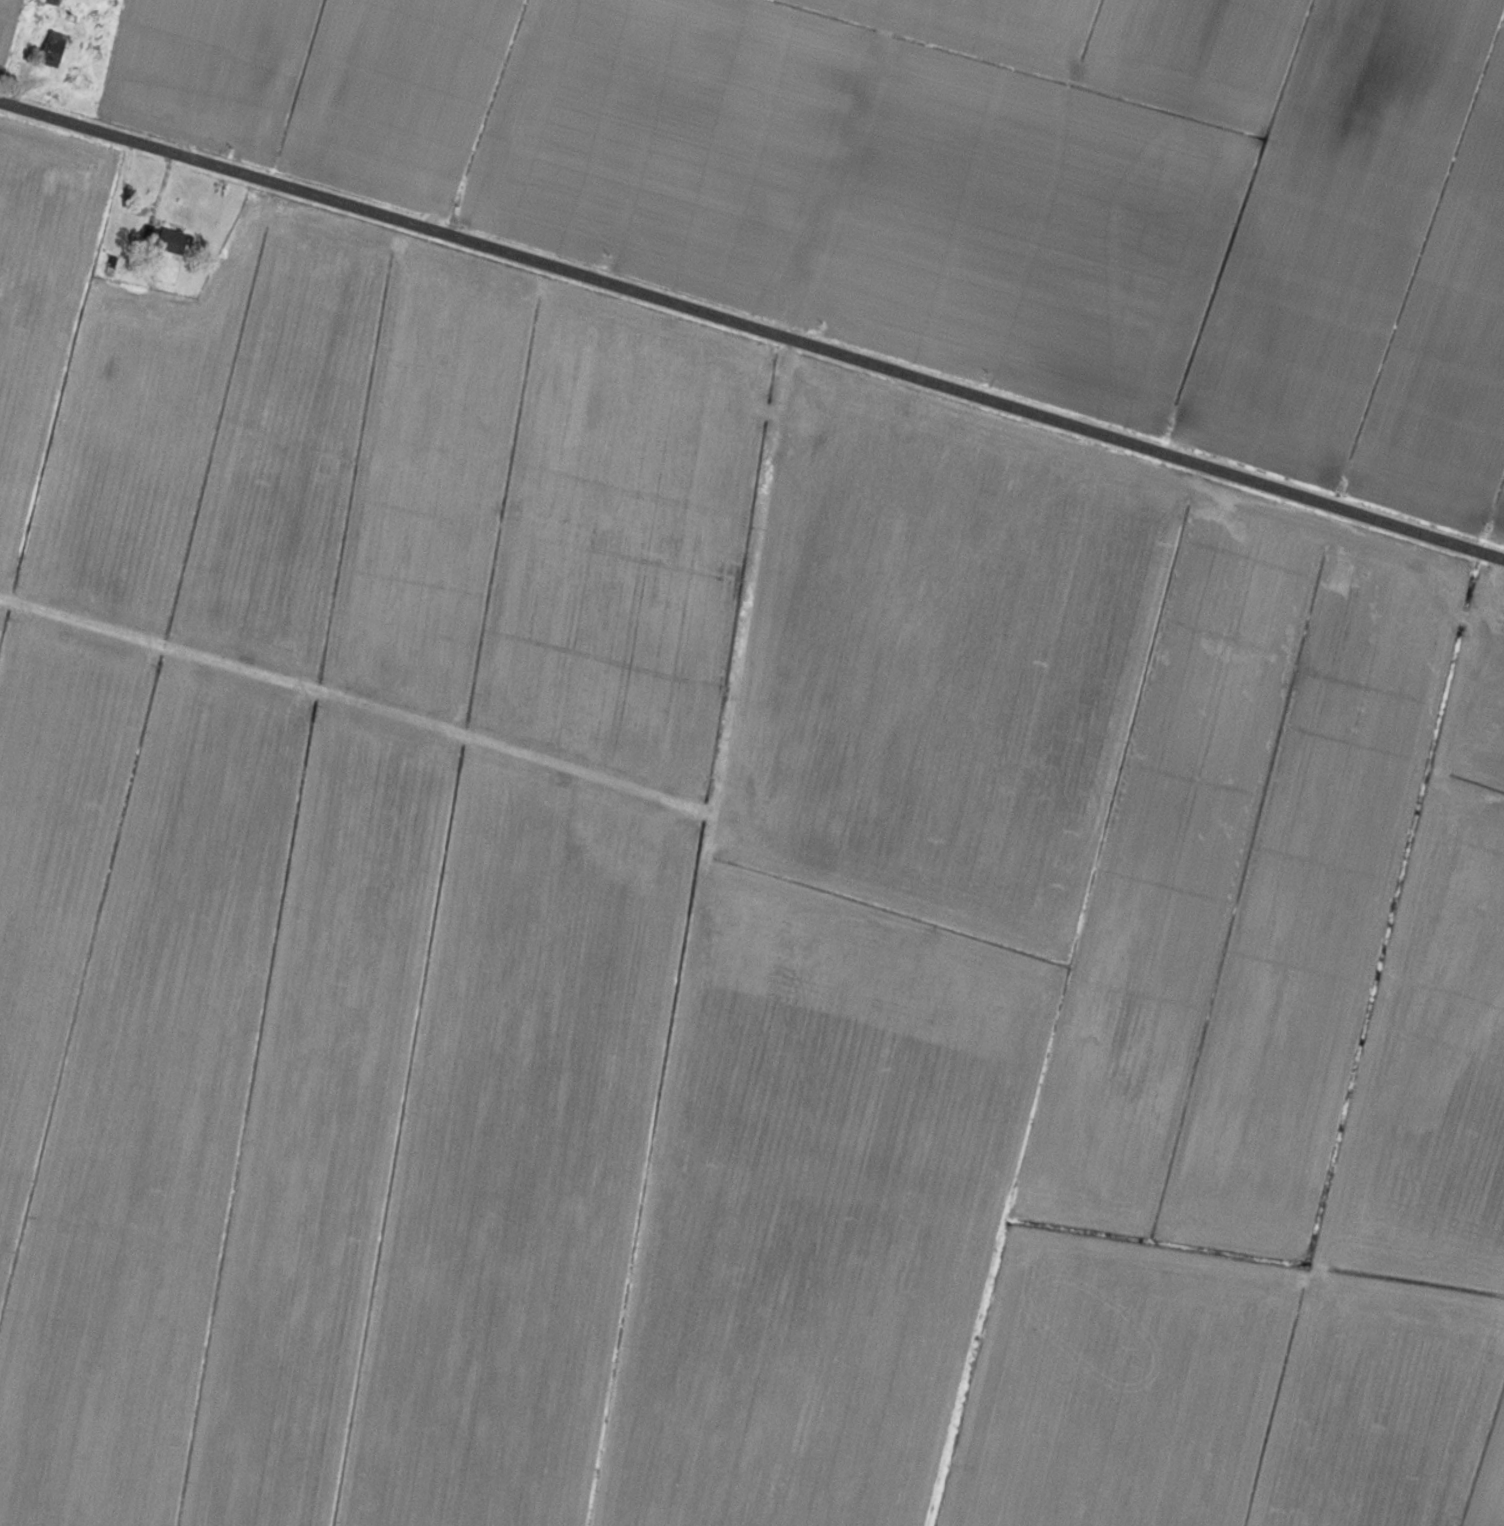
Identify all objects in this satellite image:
building: (51, 48)
building: (170, 241)
road: (753, 340)

